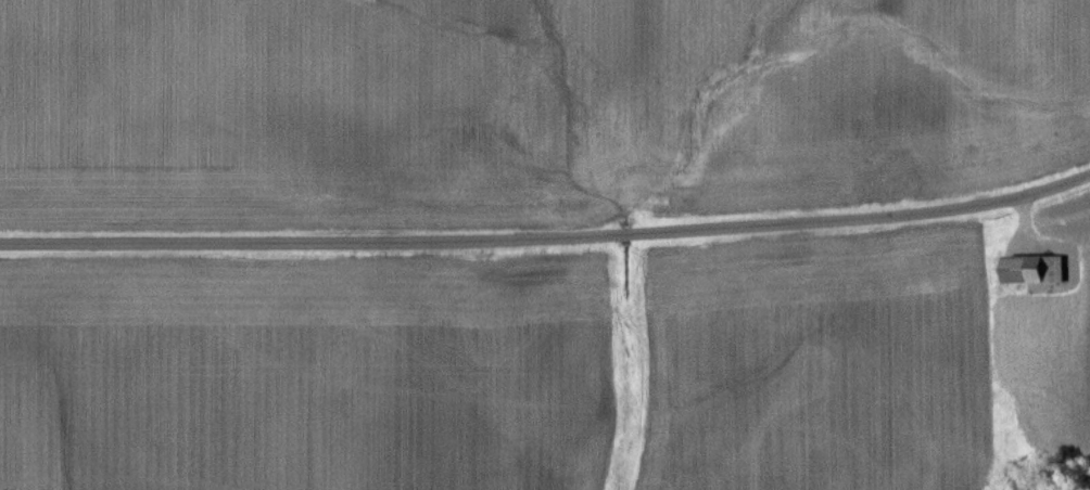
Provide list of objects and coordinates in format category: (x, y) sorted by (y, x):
road: (548, 240)

